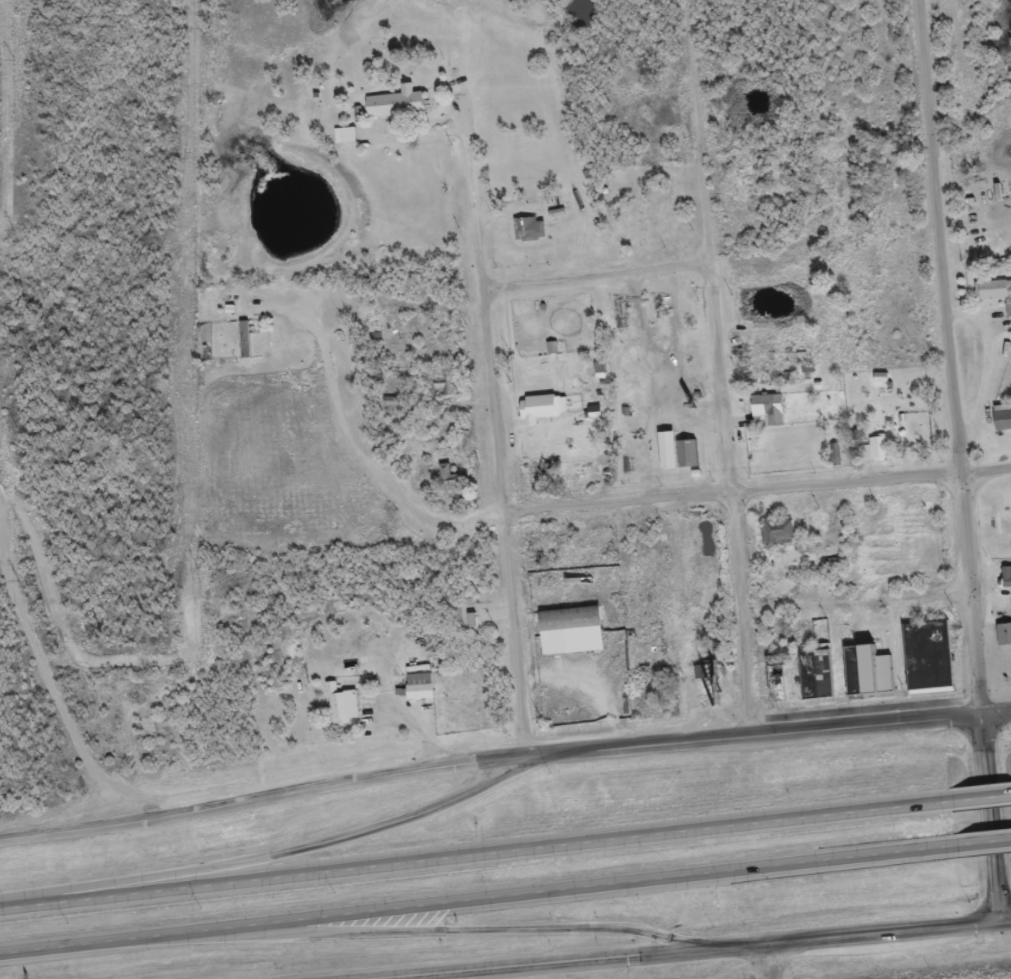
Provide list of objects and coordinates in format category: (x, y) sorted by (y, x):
building: (393, 111)
building: (342, 142)
building: (527, 236)
road: (939, 238)
road: (596, 277)
building: (992, 297)
building: (1007, 316)
building: (241, 347)
road: (719, 367)
building: (539, 416)
building: (764, 418)
building: (591, 419)
building: (1001, 427)
road: (495, 429)
road: (351, 449)
building: (873, 455)
building: (664, 458)
building: (683, 461)
building: (447, 488)
road: (756, 494)
building: (775, 541)
building: (1005, 585)
road: (969, 596)
road: (856, 604)
building: (568, 638)
building: (1003, 642)
building: (925, 662)
building: (703, 678)
building: (416, 690)
road: (48, 693)
building: (339, 712)
road: (995, 713)
road: (763, 734)
road: (273, 797)
road: (974, 797)
road: (991, 819)
road: (976, 841)
road: (280, 852)
road: (469, 853)
road: (470, 898)
road: (1006, 923)
road: (421, 929)
road: (692, 950)
road: (766, 963)

